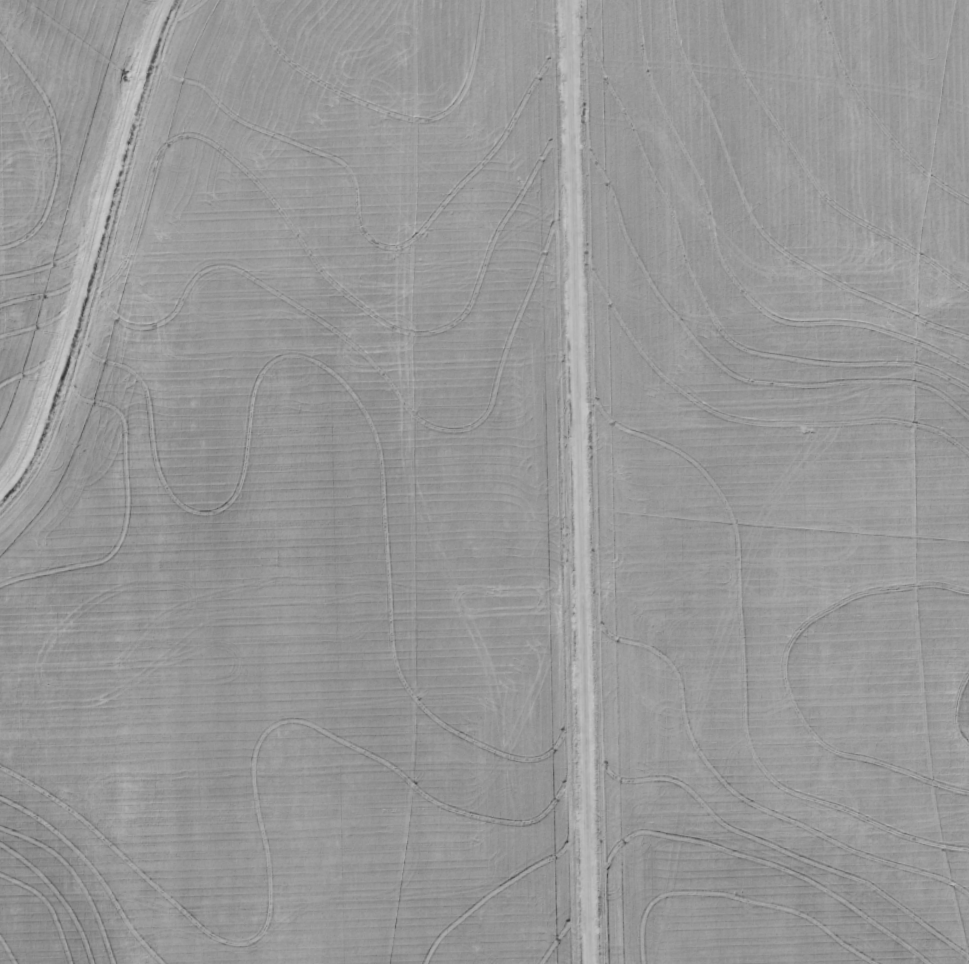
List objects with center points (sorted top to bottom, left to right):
road: (599, 482)

